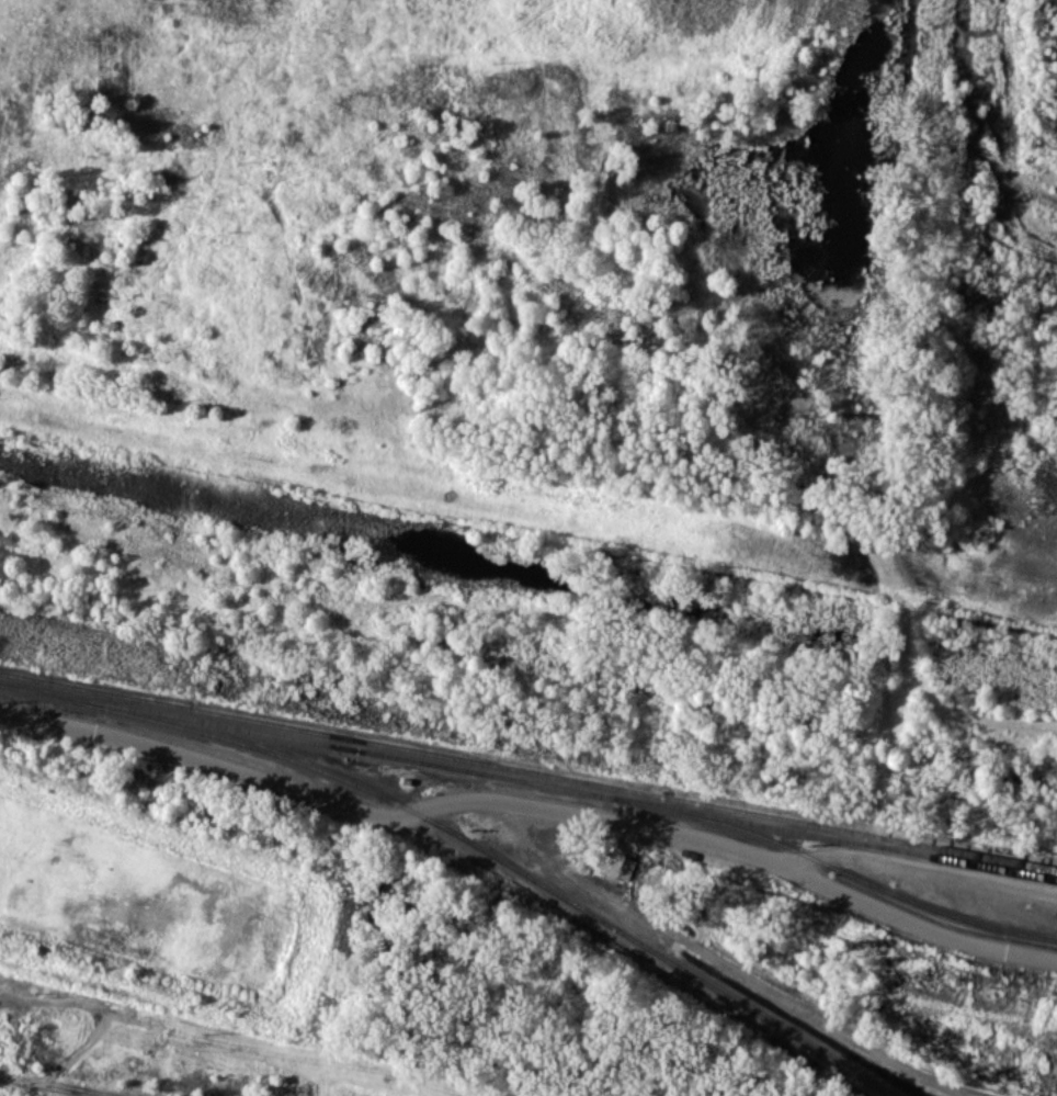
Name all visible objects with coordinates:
railway: (527, 771)
railway: (527, 781)
road: (525, 795)
railway: (469, 845)
railway: (834, 866)
building: (626, 868)
road: (39, 1087)

